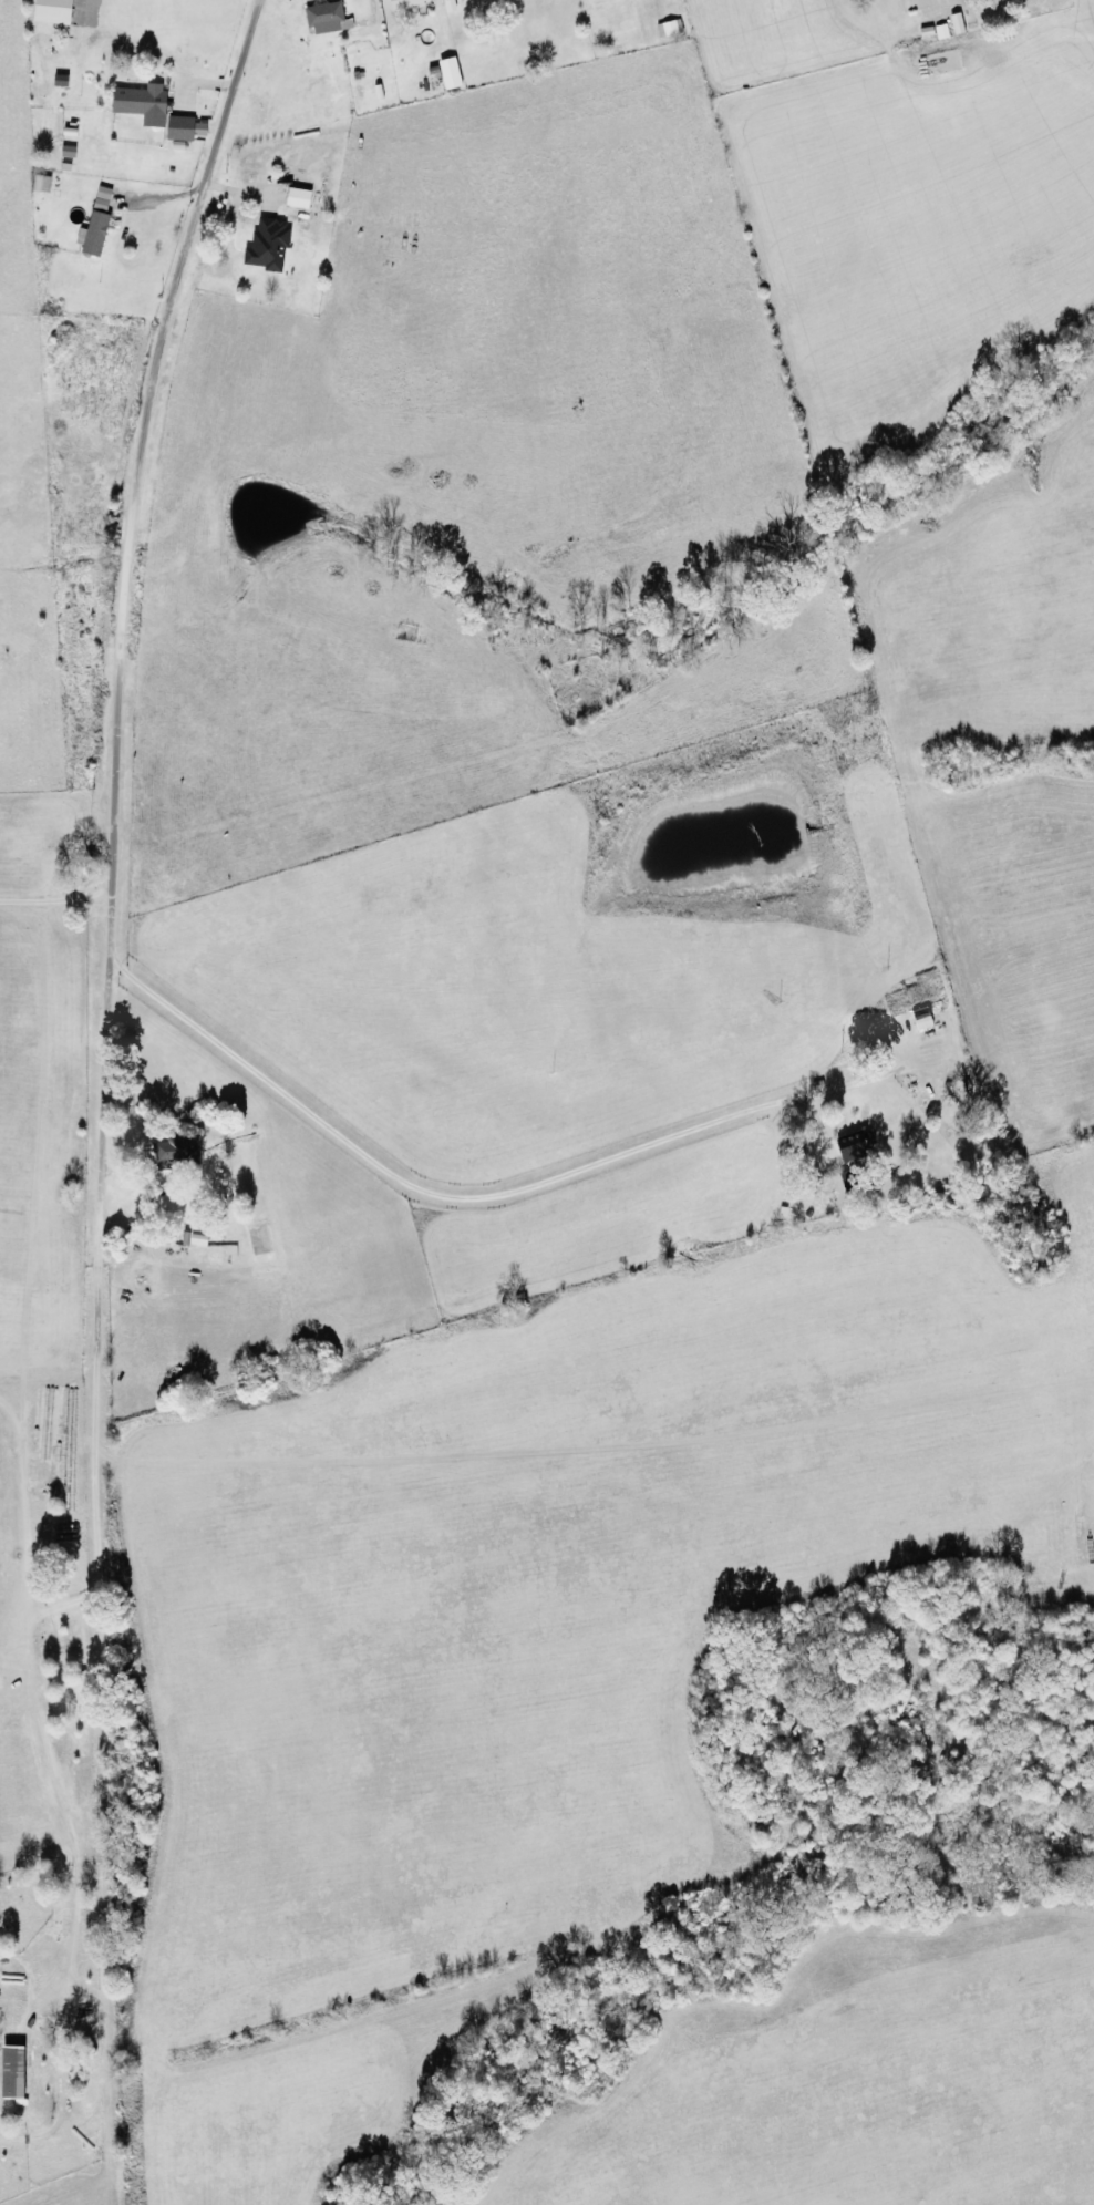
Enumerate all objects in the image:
building: (405, 3)
building: (53, 11)
building: (328, 19)
building: (670, 28)
building: (435, 73)
building: (451, 73)
building: (142, 104)
building: (185, 128)
building: (41, 184)
building: (298, 198)
building: (95, 224)
building: (268, 246)
road: (118, 1126)
building: (853, 1148)
building: (178, 1151)
building: (11, 2072)

